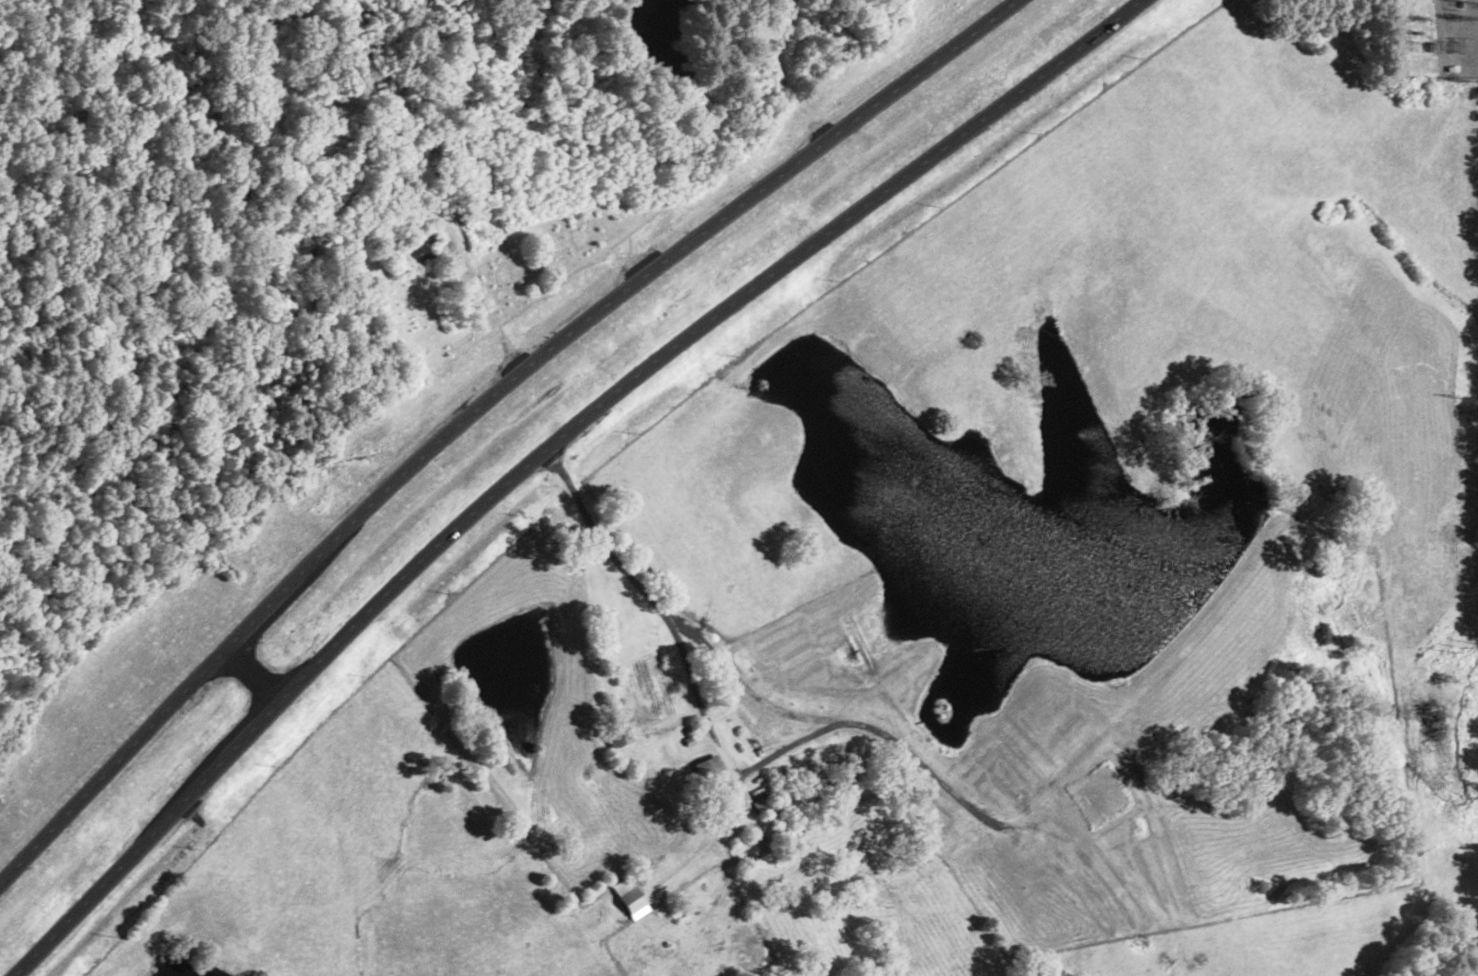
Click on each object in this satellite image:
building: (431, 211)
building: (413, 251)
road: (51, 384)
road: (478, 406)
road: (543, 448)
road: (620, 566)
building: (655, 693)
building: (709, 772)
building: (629, 896)

